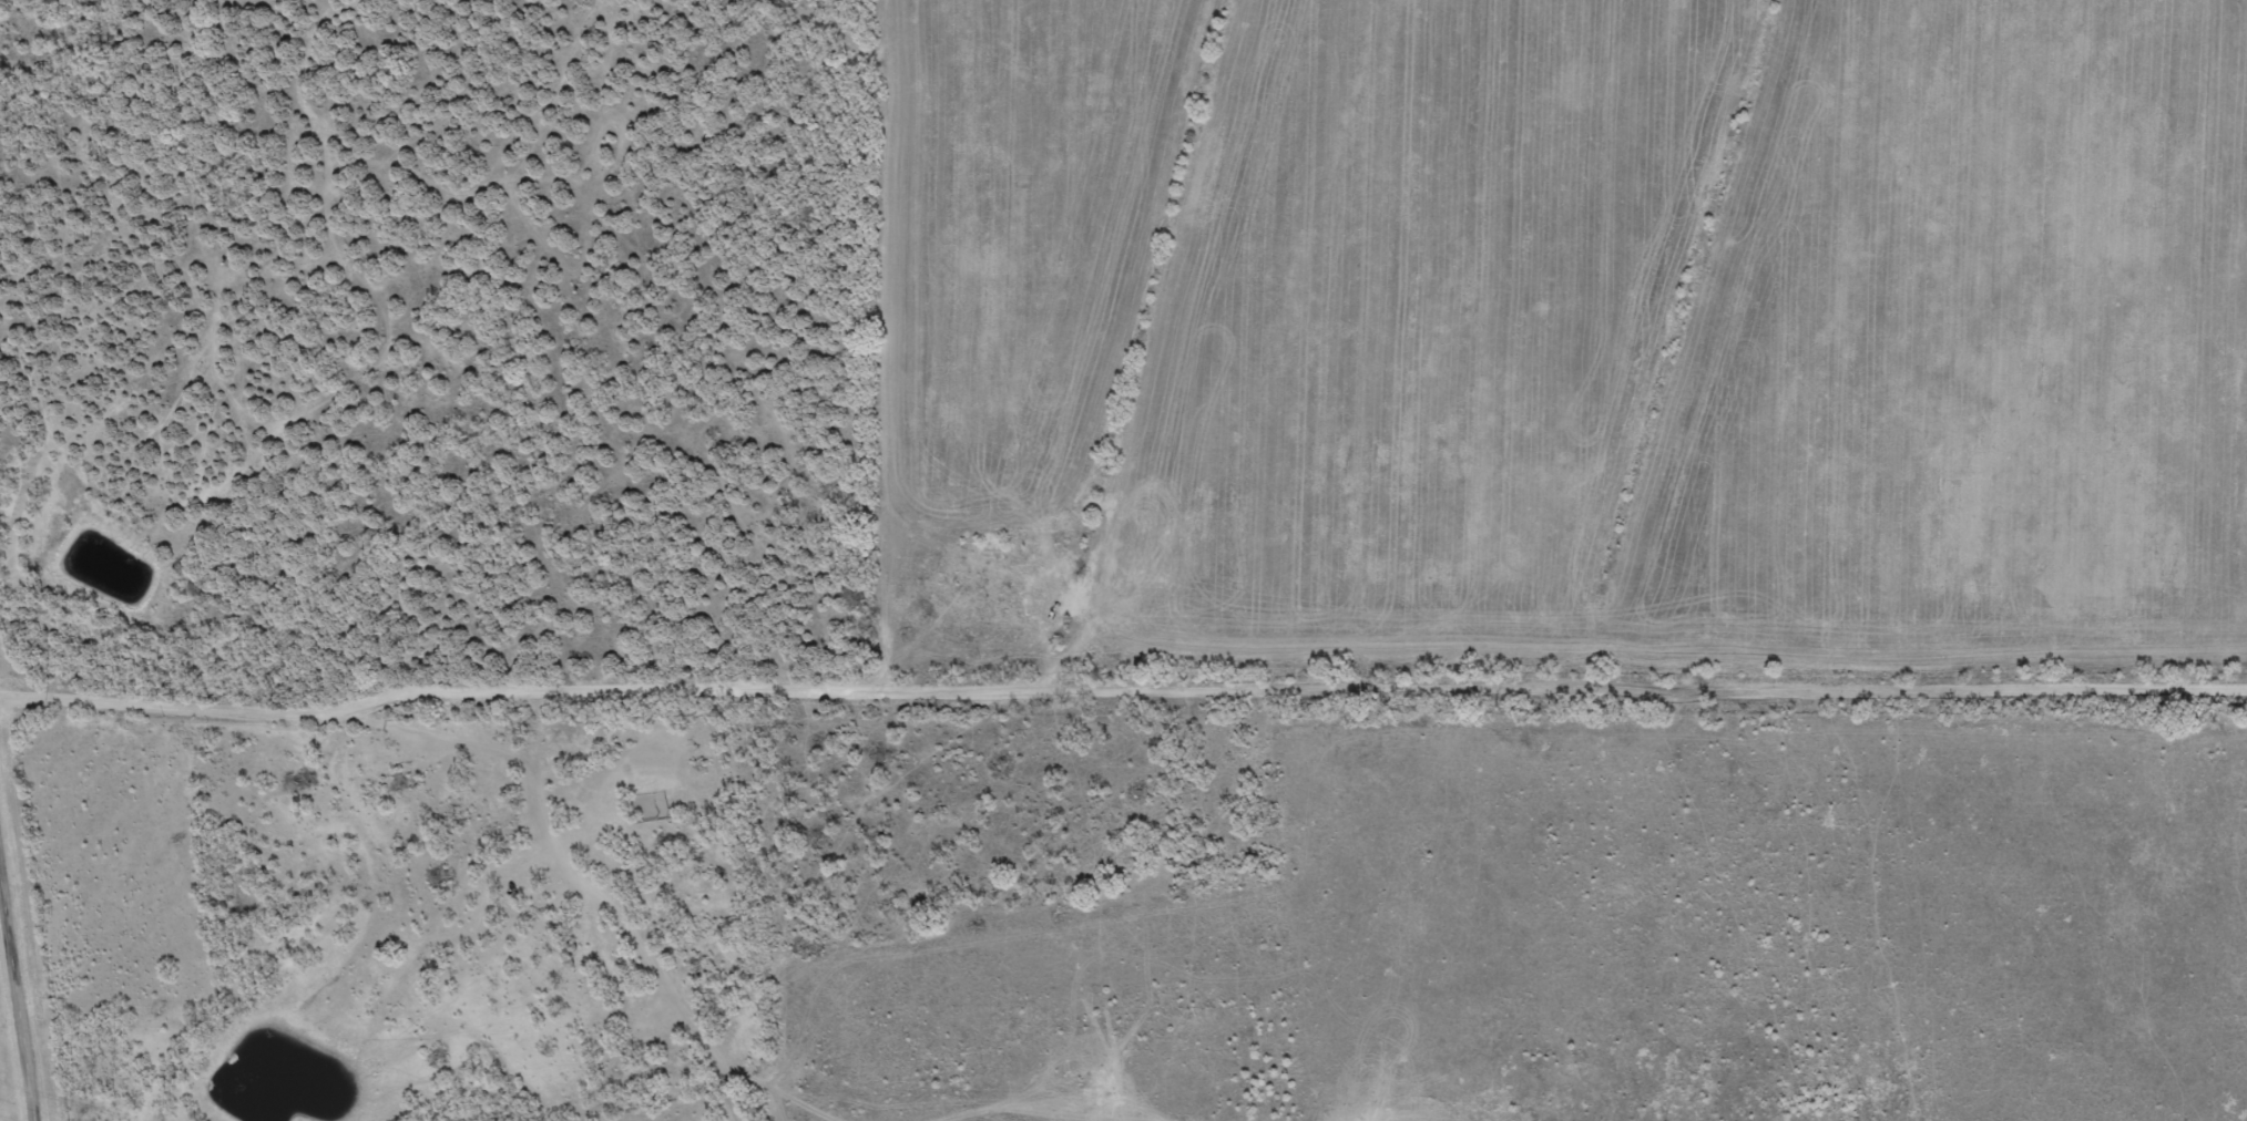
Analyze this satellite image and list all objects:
road: (1116, 670)
road: (440, 740)
road: (648, 938)
road: (19, 979)

